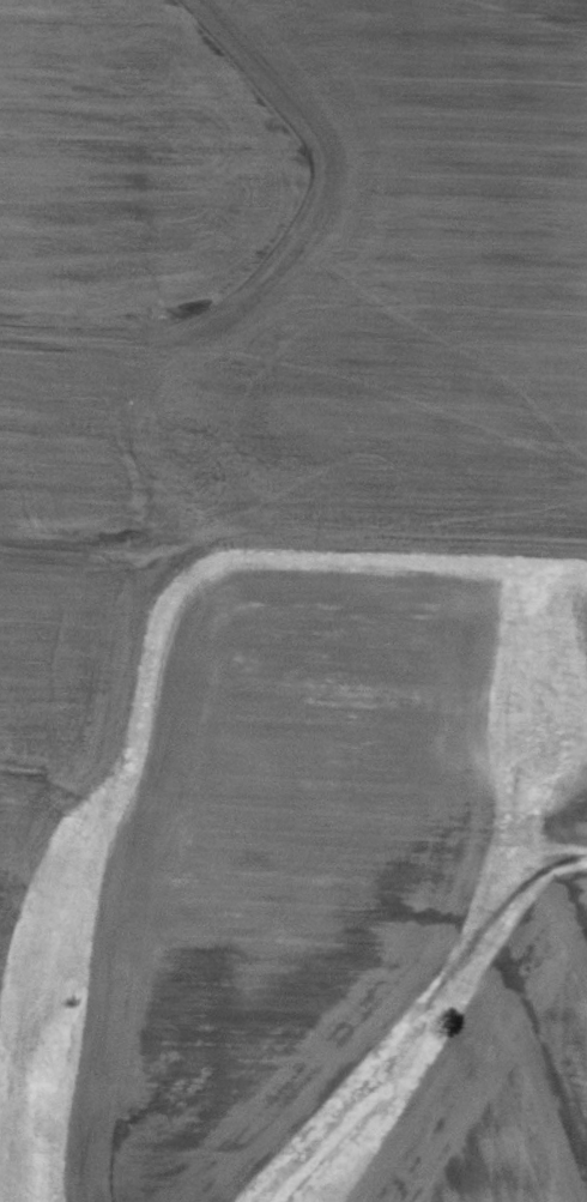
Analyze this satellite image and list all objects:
crop: (293, 600)

